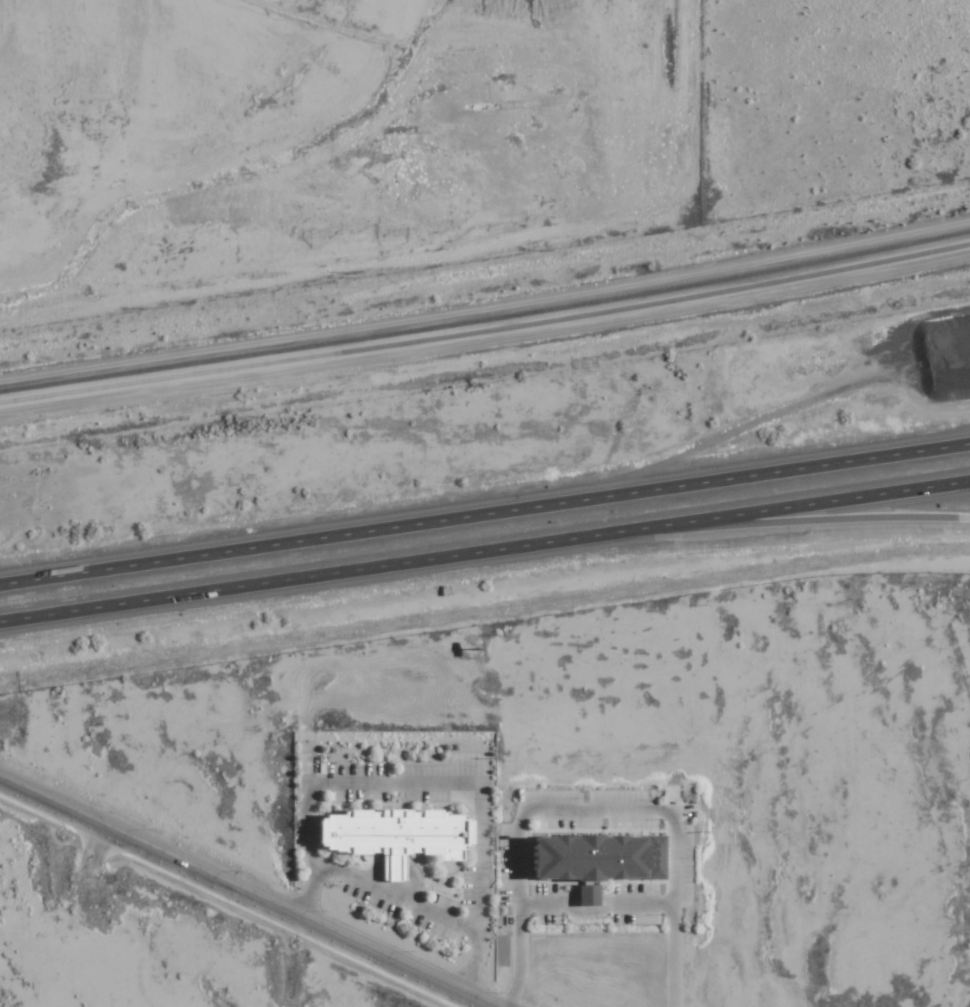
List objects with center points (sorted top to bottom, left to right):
railway: (486, 315)
railway: (486, 331)
road: (485, 349)
road: (485, 514)
road: (787, 523)
road: (485, 551)
building: (399, 835)
building: (603, 857)
road: (245, 893)
building: (594, 894)

